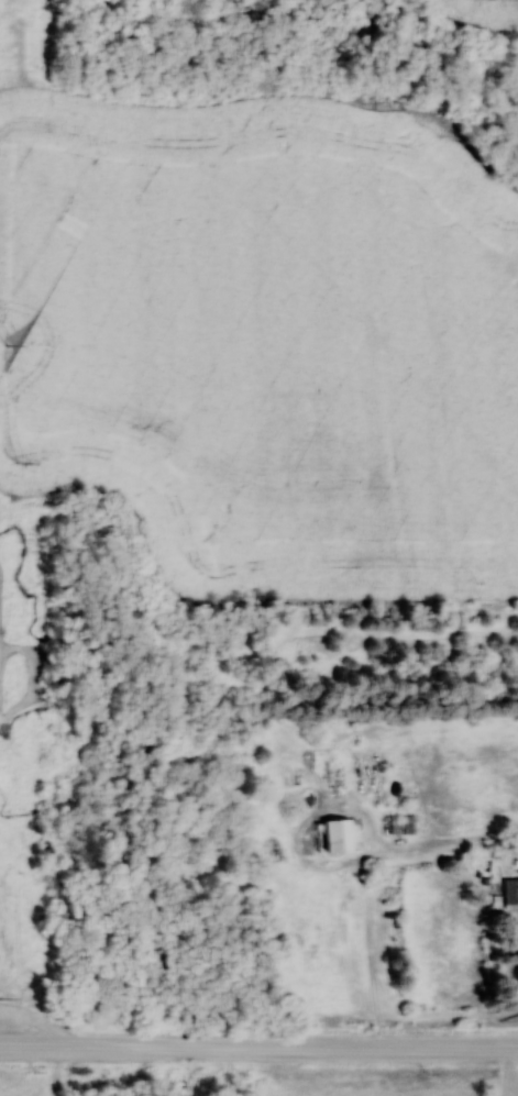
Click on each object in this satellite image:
power tower: (8, 315)
building: (333, 837)
building: (510, 893)
road: (258, 1049)
road: (507, 1072)

